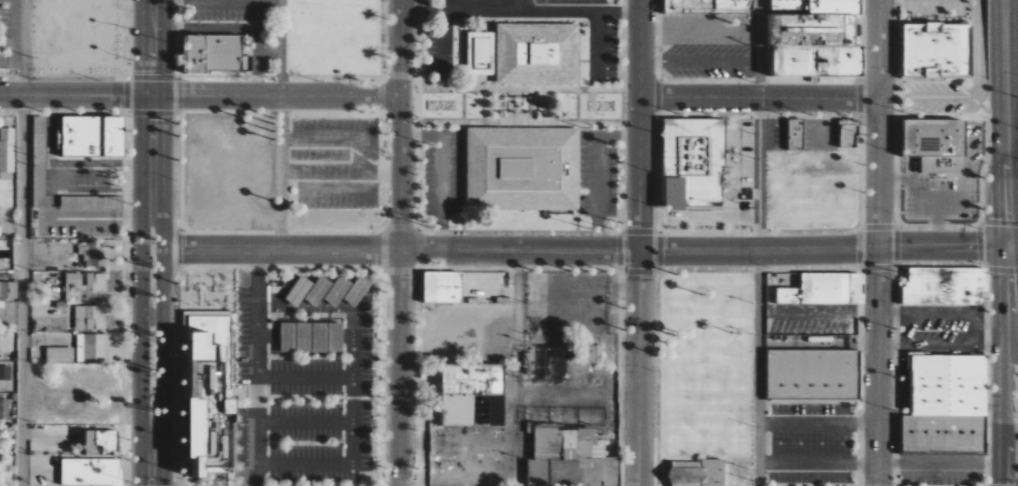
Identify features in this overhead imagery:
building: (577, 0)
road: (520, 5)
building: (790, 5)
building: (708, 6)
road: (523, 10)
building: (818, 41)
road: (758, 48)
building: (937, 51)
building: (213, 54)
building: (481, 54)
building: (537, 54)
road: (701, 61)
road: (974, 93)
road: (763, 96)
road: (201, 98)
road: (1009, 123)
road: (278, 126)
building: (795, 134)
building: (848, 134)
building: (92, 135)
building: (935, 143)
building: (7, 153)
building: (693, 162)
building: (523, 168)
road: (598, 172)
building: (40, 173)
road: (438, 178)
building: (84, 202)
road: (153, 242)
road: (879, 242)
road: (26, 243)
road: (403, 243)
road: (645, 243)
building: (93, 253)
road: (585, 253)
building: (73, 284)
building: (95, 285)
building: (943, 285)
building: (442, 287)
building: (9, 289)
building: (825, 289)
building: (299, 290)
building: (318, 290)
building: (338, 290)
building: (357, 290)
road: (825, 309)
building: (95, 317)
building: (537, 323)
building: (93, 347)
building: (590, 353)
building: (59, 354)
building: (557, 366)
road: (1012, 366)
road: (757, 368)
road: (257, 369)
road: (519, 369)
building: (5, 372)
building: (813, 375)
parking lot: (304, 378)
road: (304, 378)
building: (205, 388)
building: (472, 394)
building: (947, 403)
building: (4, 409)
road: (1015, 409)
road: (818, 422)
road: (303, 423)
road: (351, 434)
building: (607, 434)
building: (101, 442)
building: (568, 446)
road: (818, 460)
road: (946, 461)
building: (91, 472)
building: (713, 472)
building: (685, 473)

